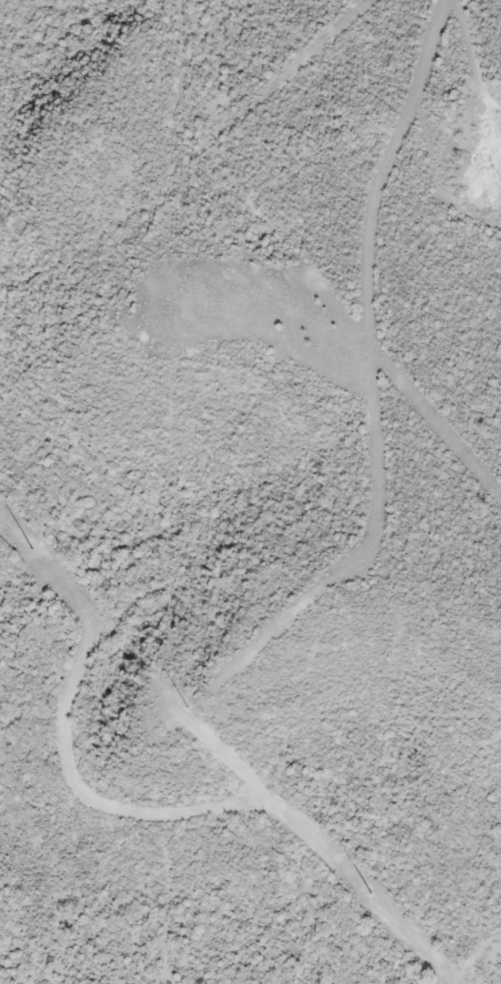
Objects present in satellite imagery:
power tower: (187, 710)

